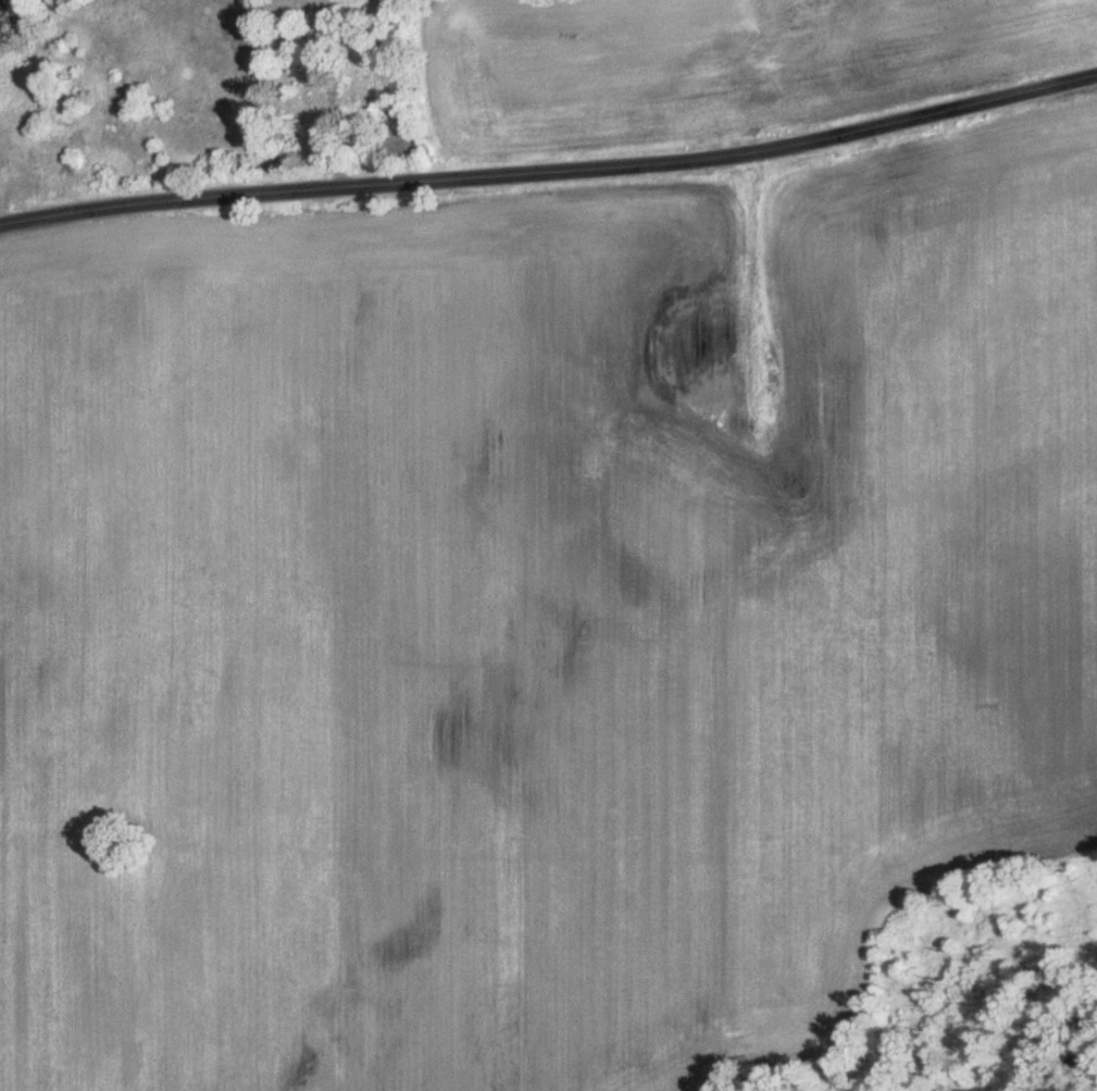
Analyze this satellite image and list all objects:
building: (307, 64)
road: (551, 172)

